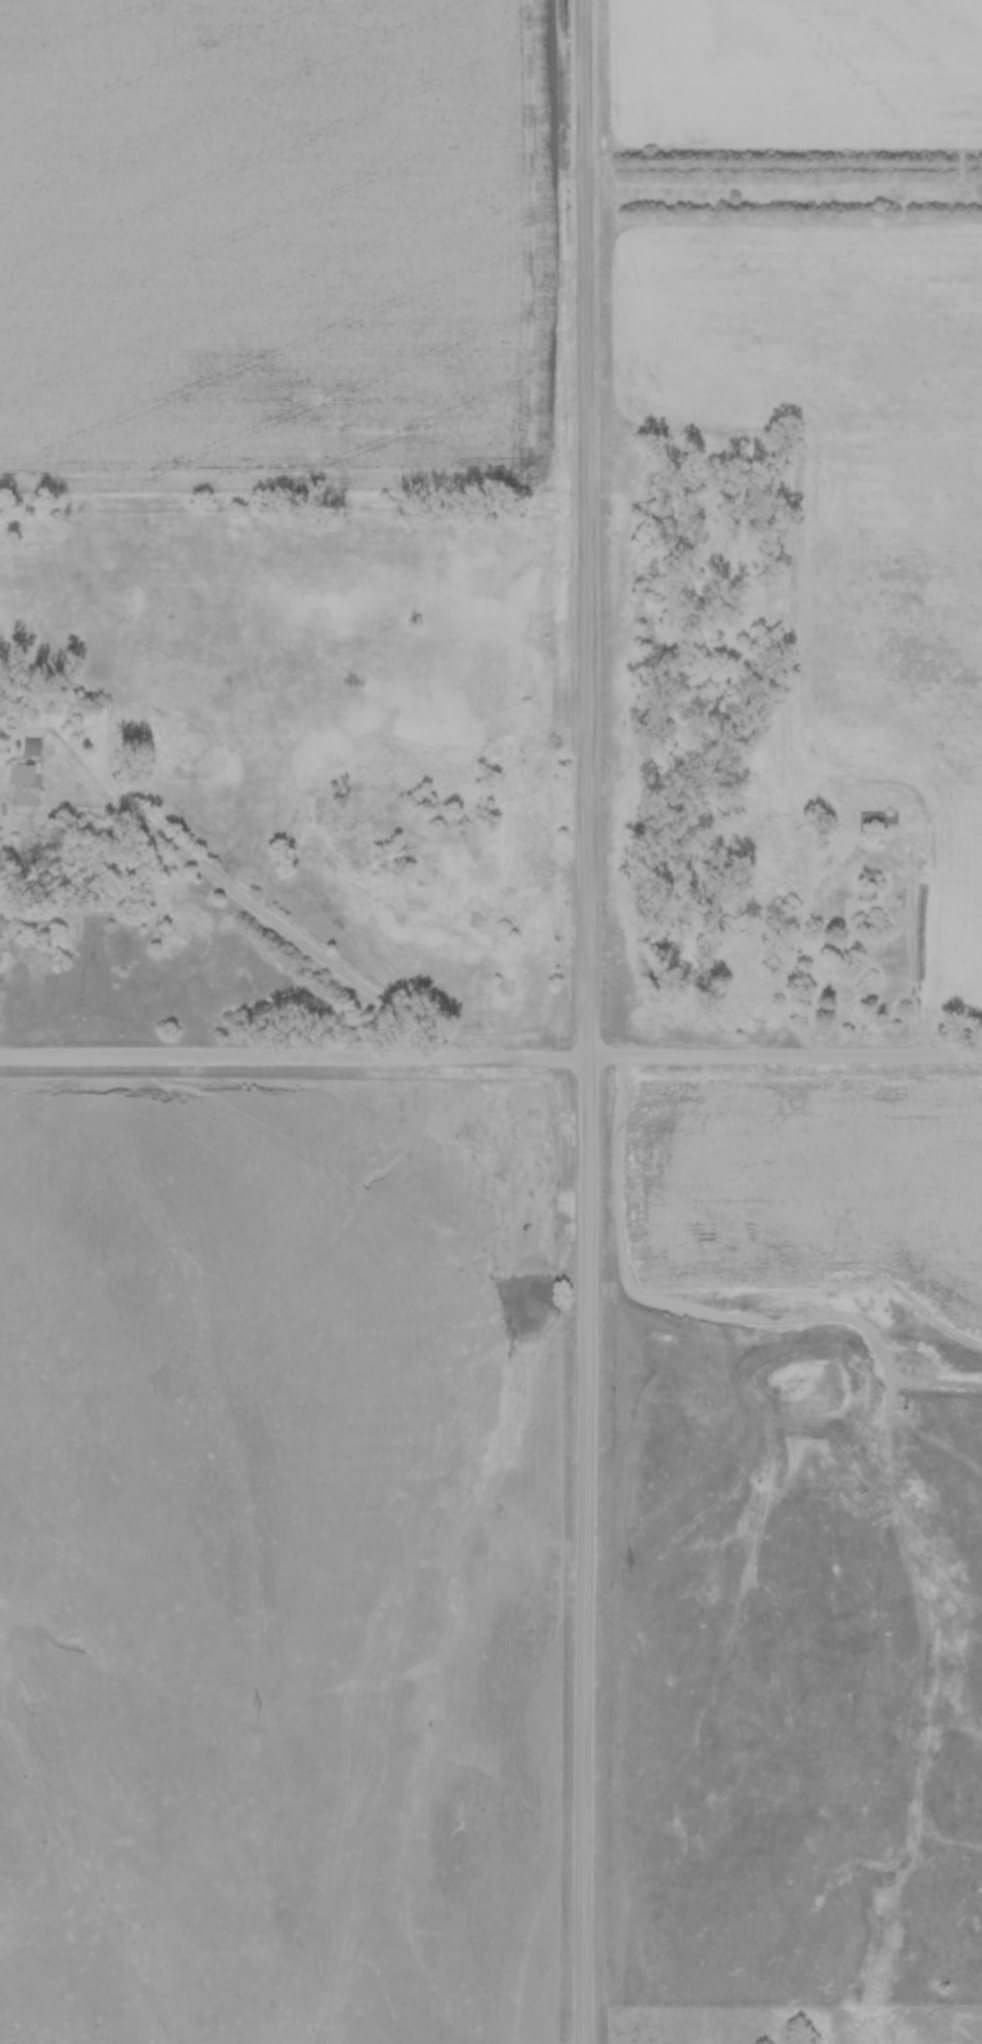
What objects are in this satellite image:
building: (29, 745)
building: (22, 782)
building: (878, 820)
road: (240, 896)
road: (801, 913)
road: (586, 1022)
road: (491, 1057)
power tower: (632, 1569)
power tower: (257, 1709)

